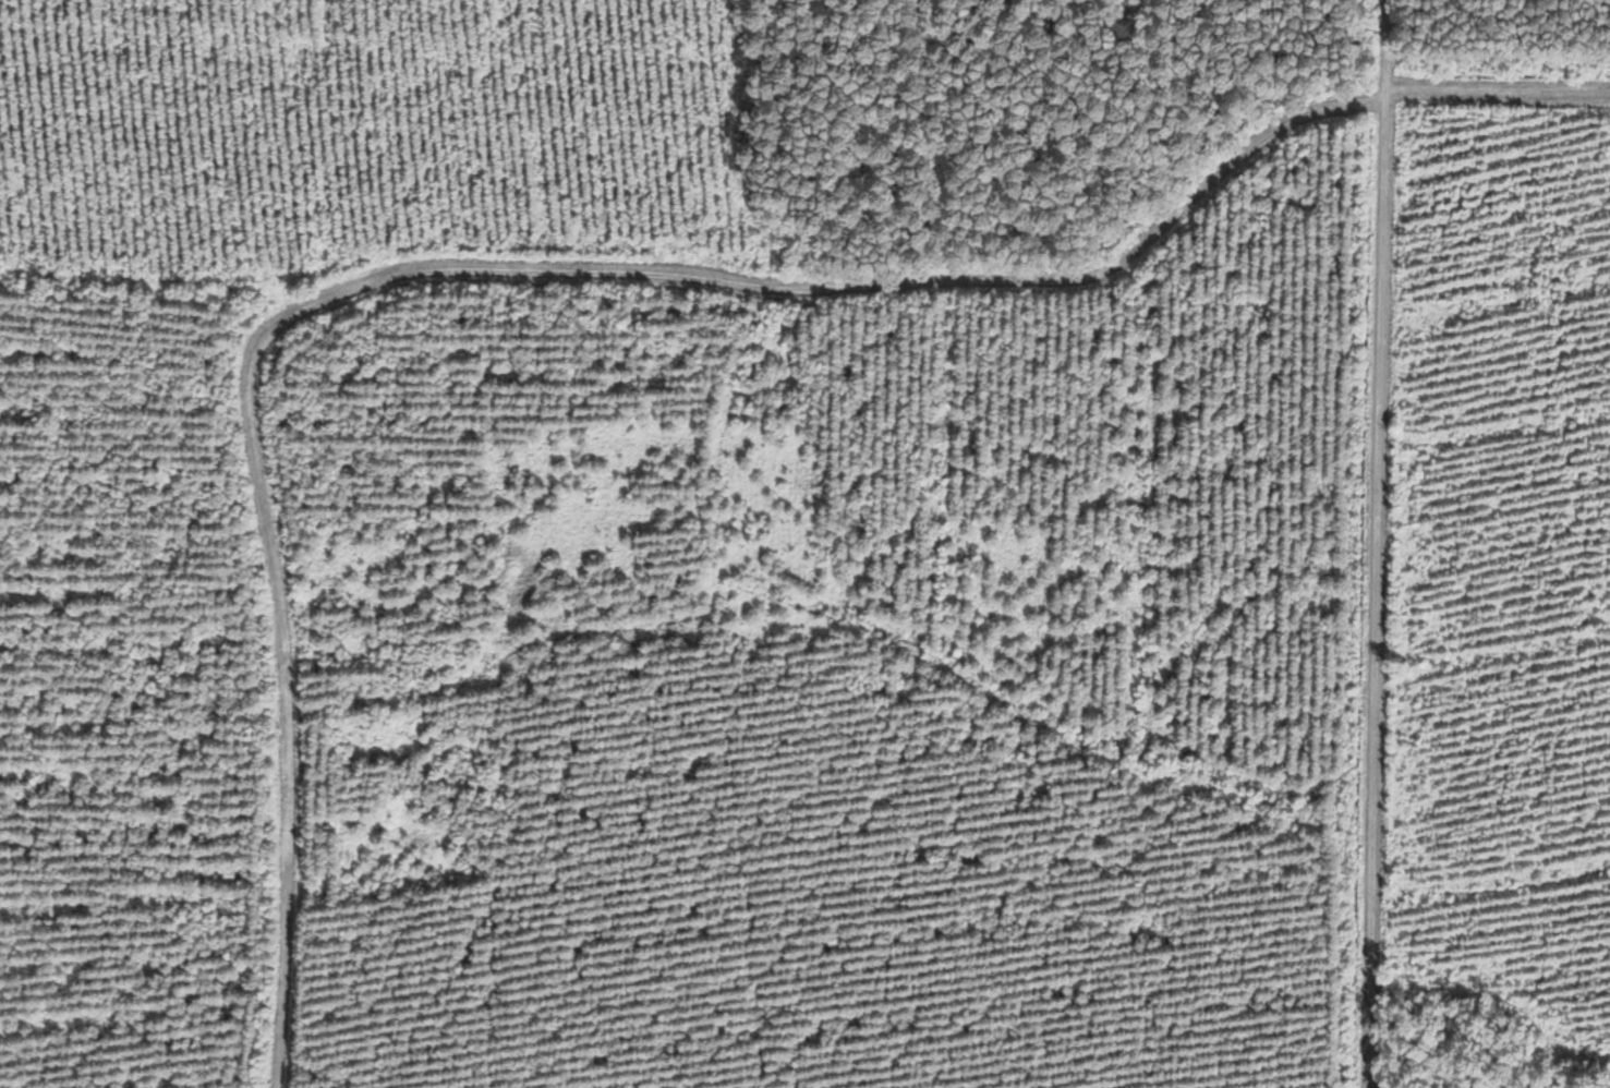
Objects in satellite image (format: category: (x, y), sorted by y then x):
road: (1370, 544)

